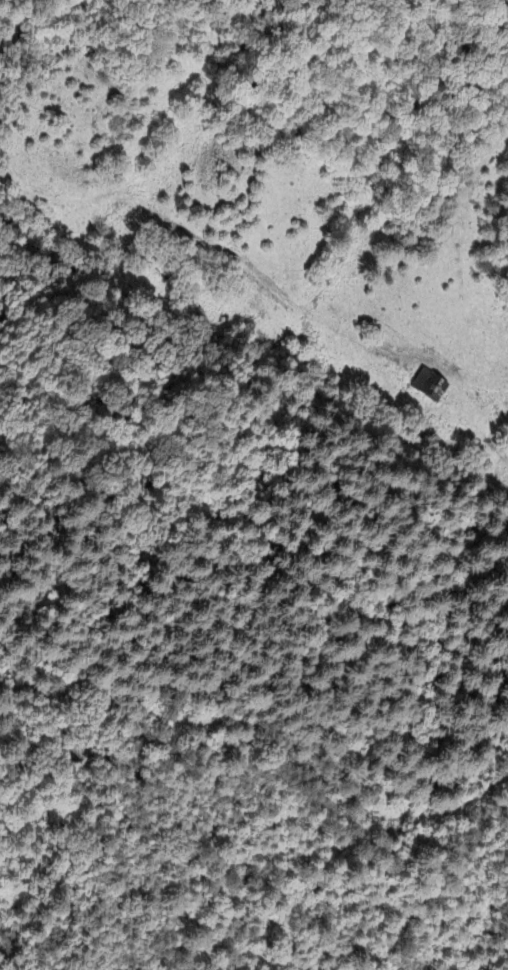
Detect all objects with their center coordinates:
building: (428, 385)

